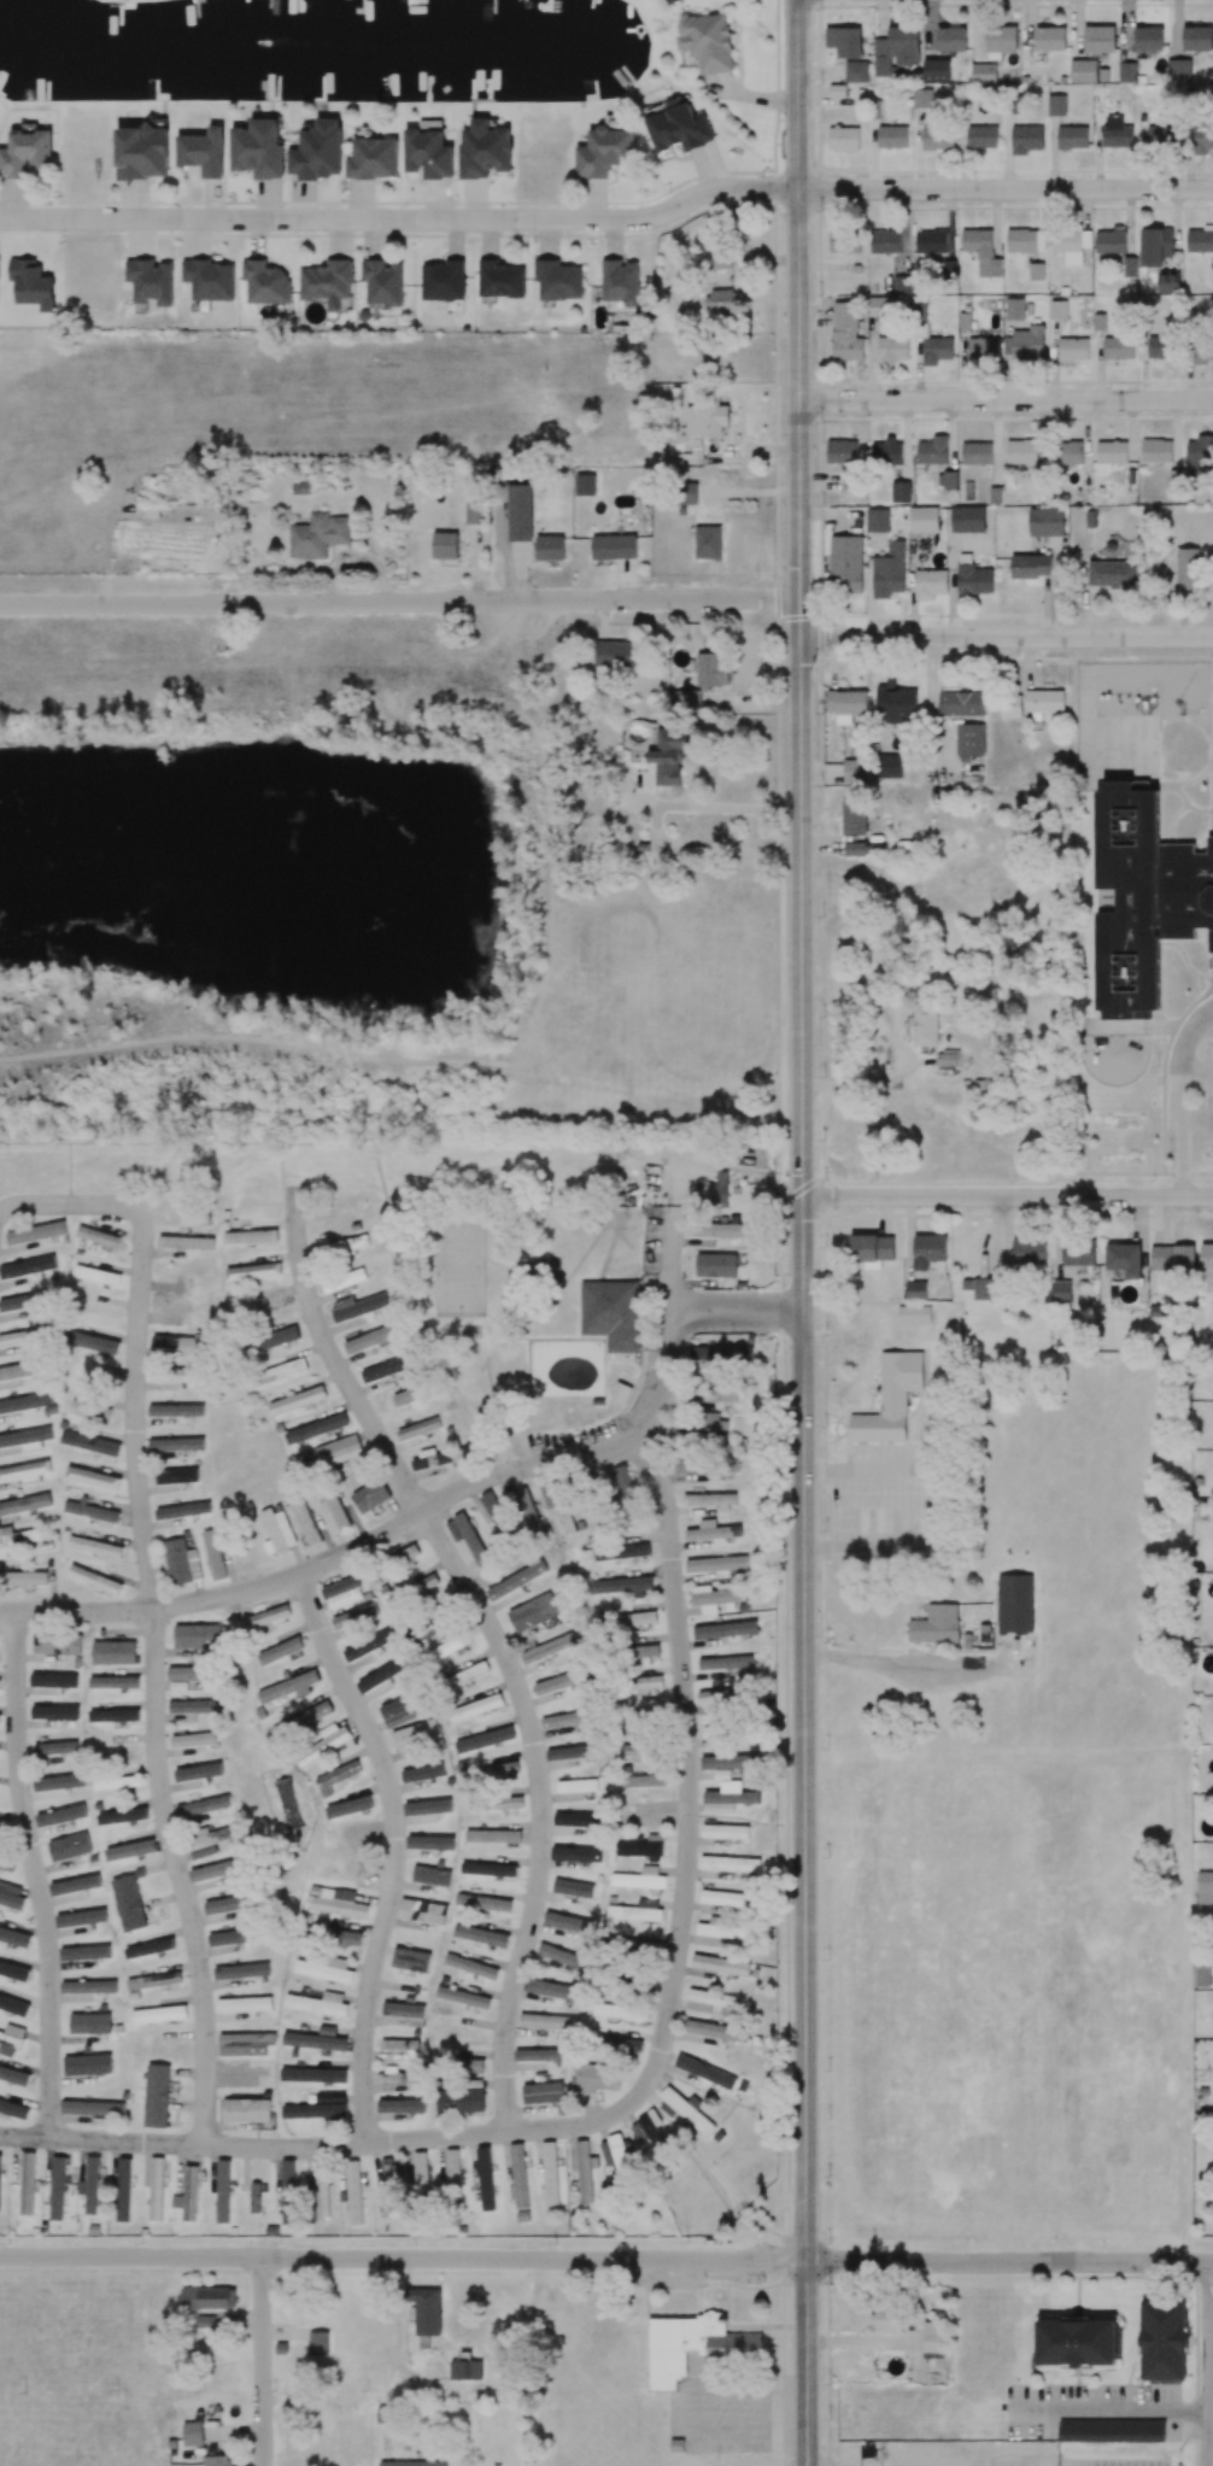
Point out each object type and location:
road: (1004, 189)
road: (400, 219)
road: (1004, 400)
road: (399, 602)
road: (1006, 637)
road: (717, 808)
road: (896, 1042)
road: (1199, 1067)
road: (1180, 1097)
road: (1197, 1118)
road: (1007, 1197)
road: (801, 1232)
road: (737, 1312)
road: (672, 1330)
road: (136, 1337)
road: (341, 1369)
road: (926, 1505)
road: (324, 1562)
road: (868, 1662)
road: (687, 1773)
road: (541, 1809)
road: (395, 1850)
road: (35, 1874)
road: (180, 1875)
road: (570, 2126)
road: (253, 2146)
road: (606, 2259)
road: (262, 2361)
road: (1212, 2400)
road: (1111, 2408)

